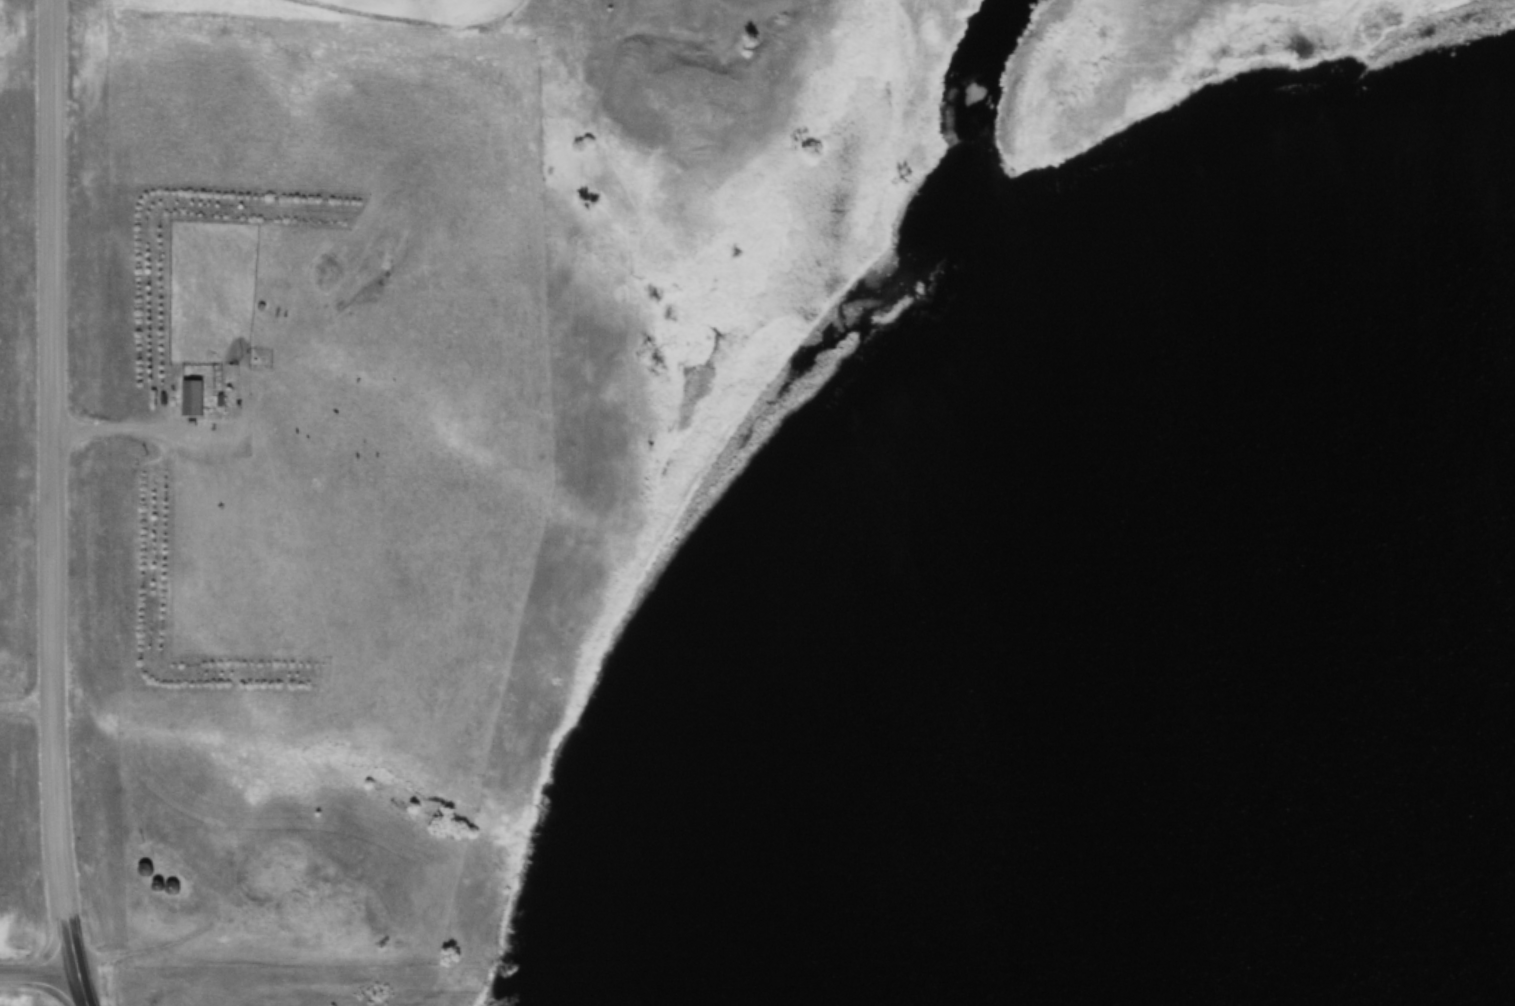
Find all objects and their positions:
building: (194, 397)
road: (52, 489)
road: (37, 975)
road: (78, 991)

